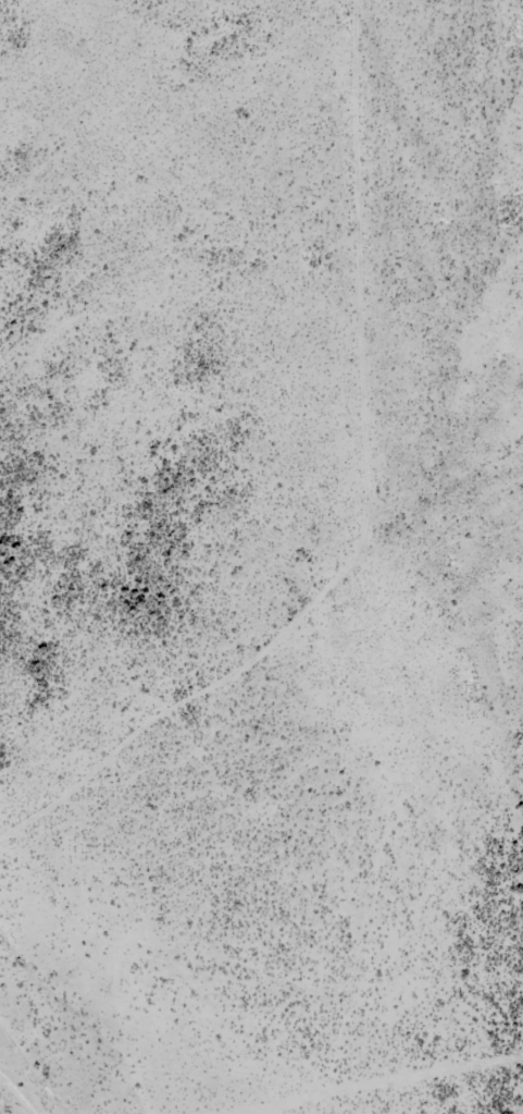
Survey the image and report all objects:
road: (45, 1066)

